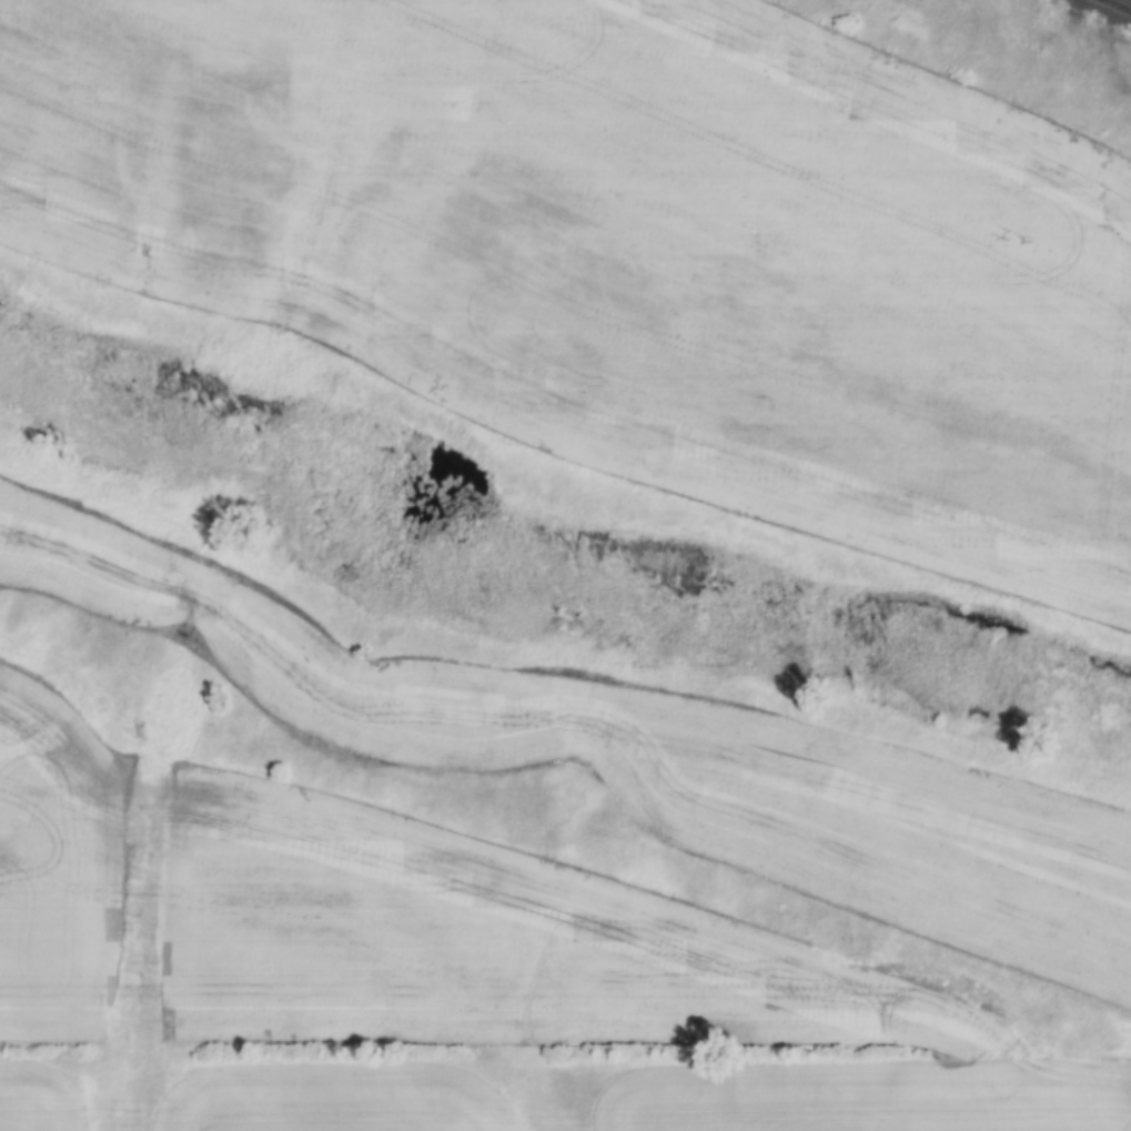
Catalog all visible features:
railway: (1115, 6)

